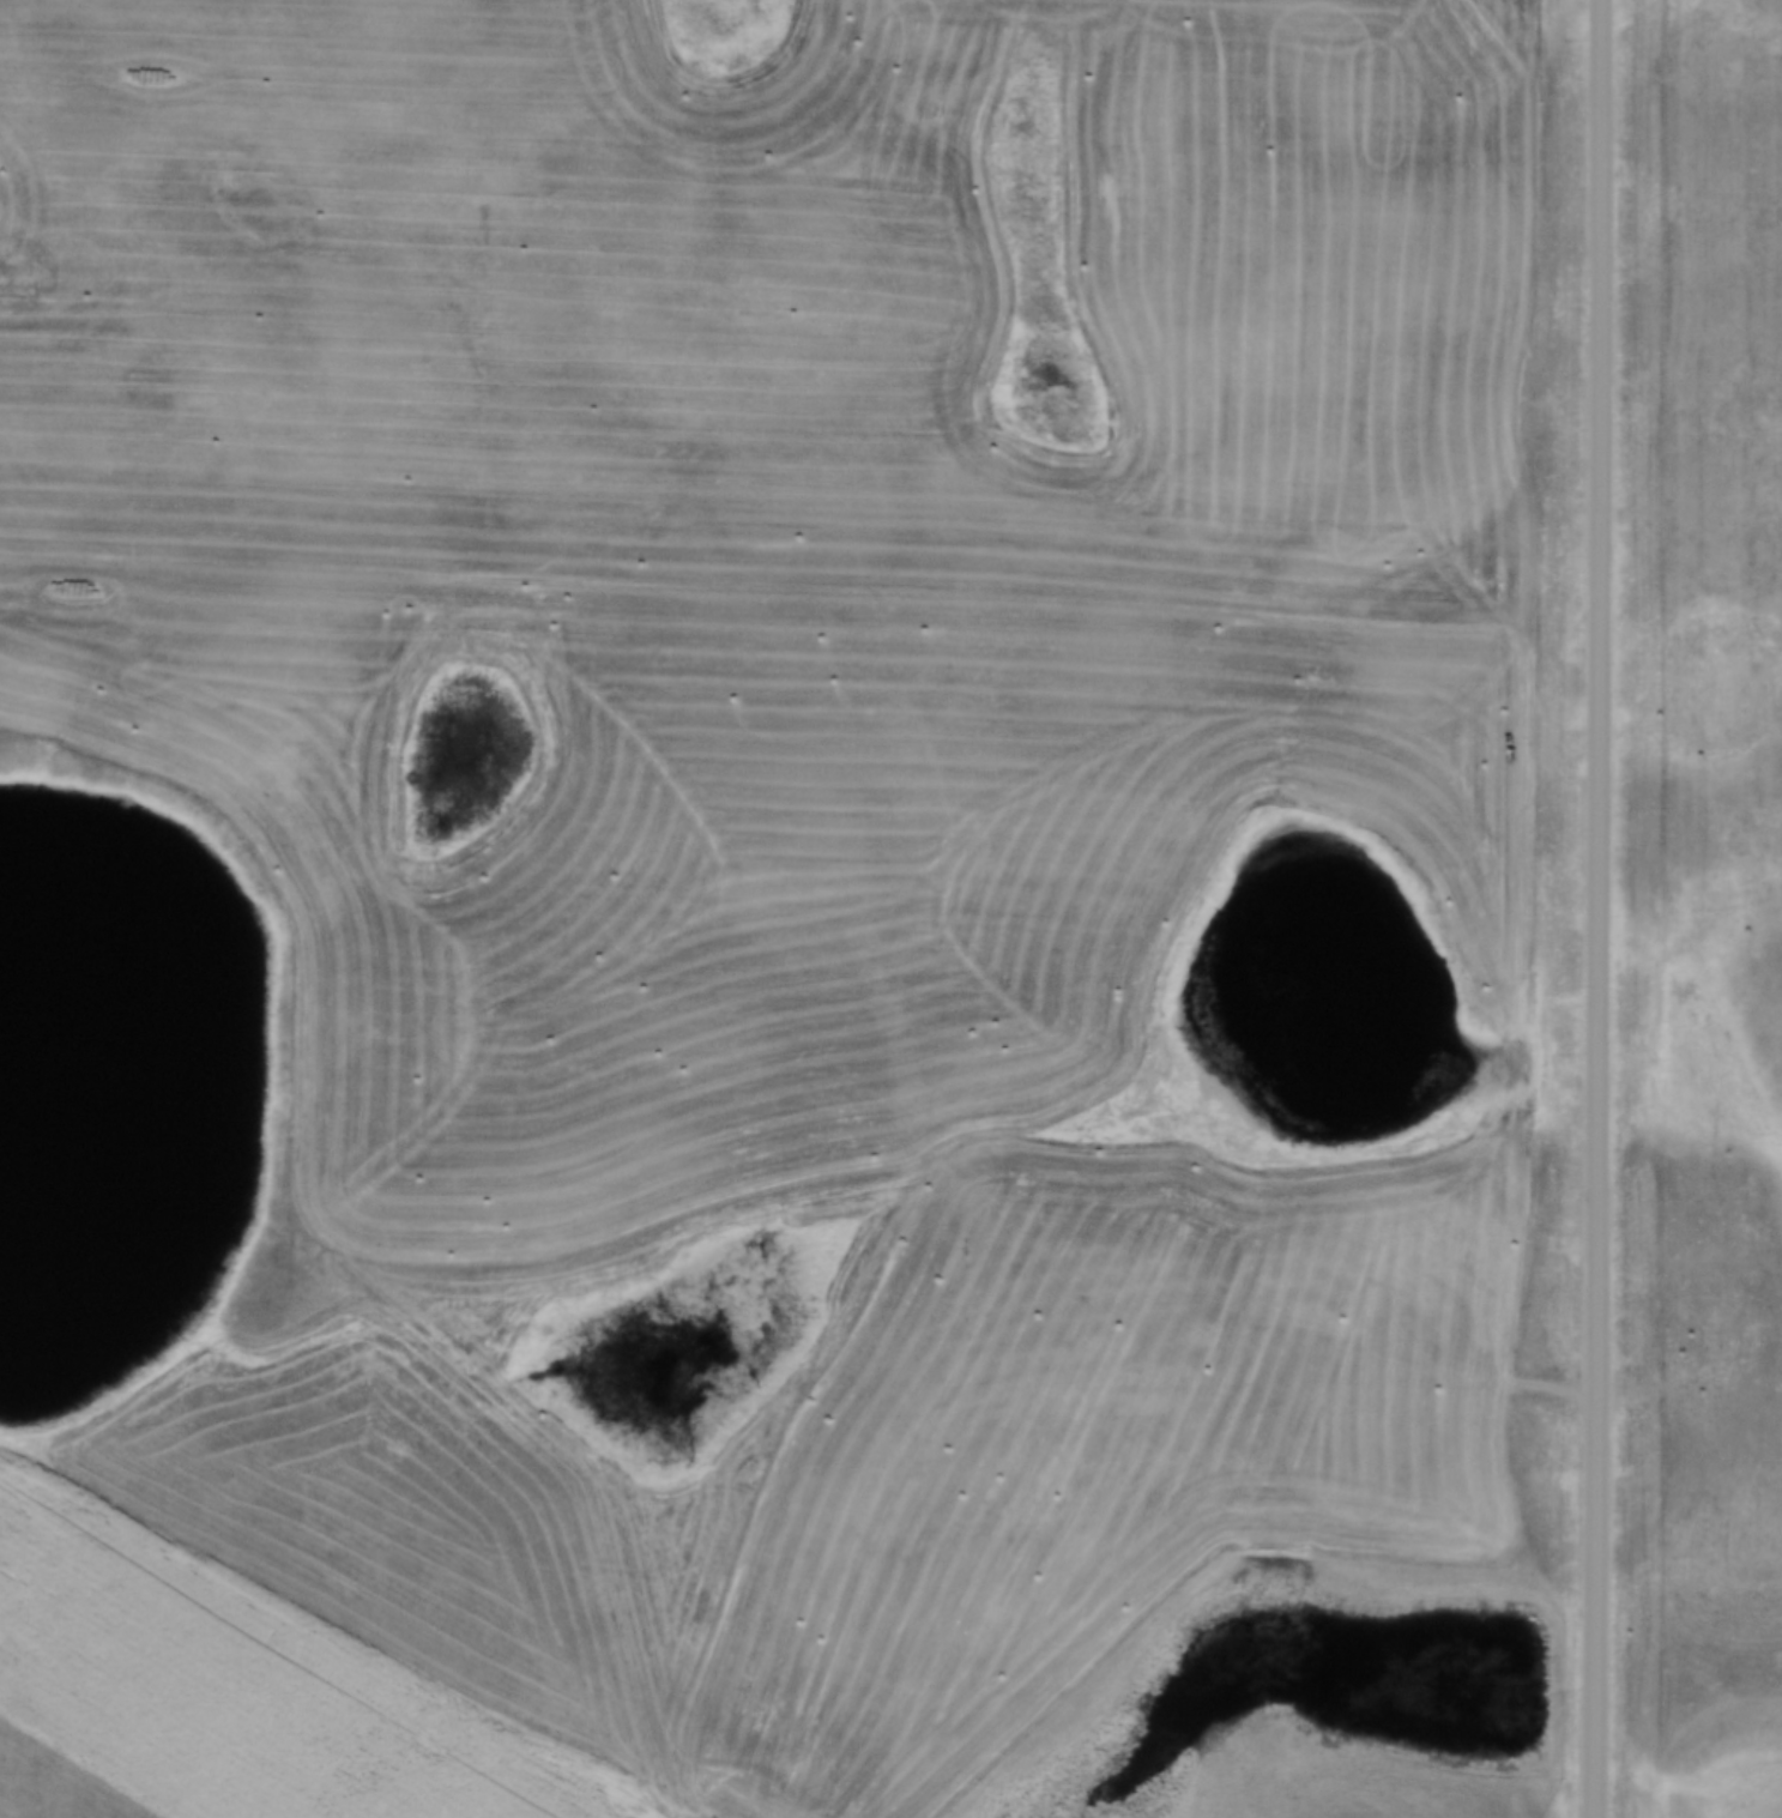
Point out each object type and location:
road: (1601, 908)

